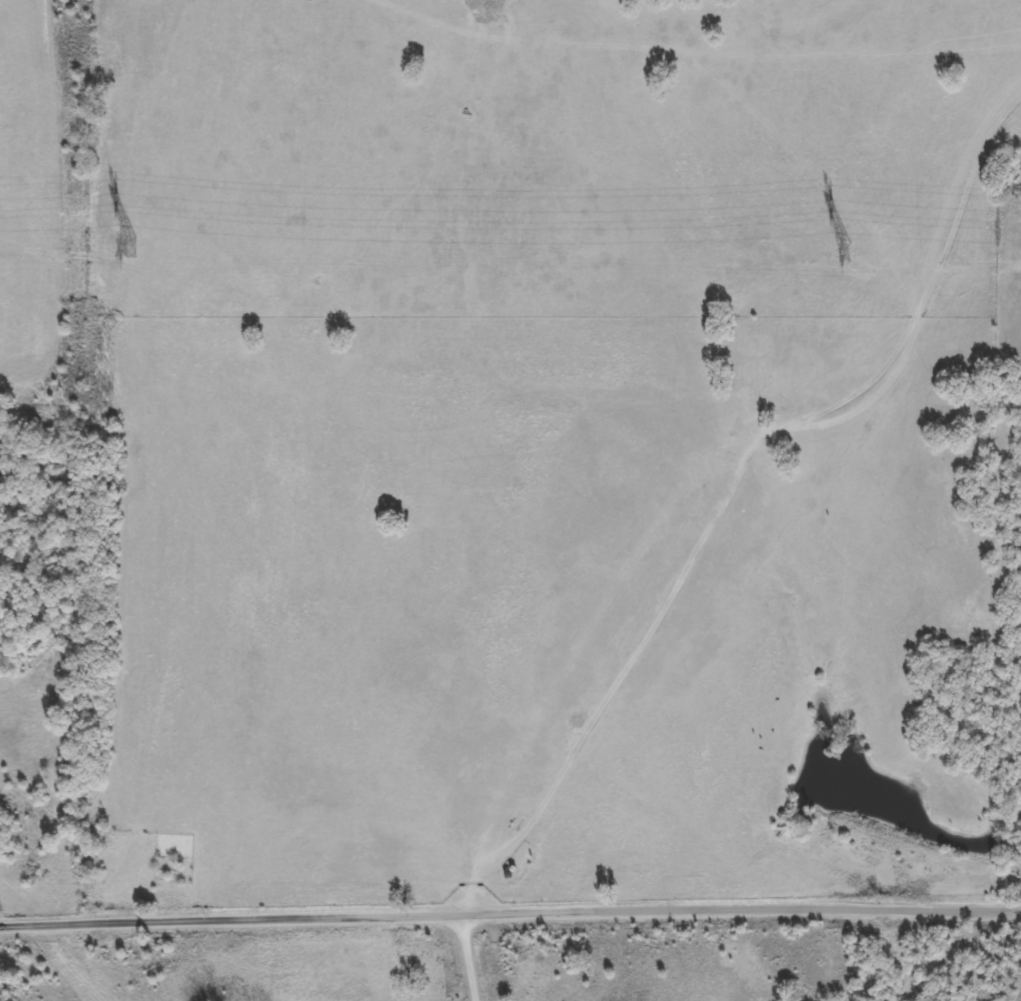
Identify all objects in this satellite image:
power tower: (131, 247)
power tower: (842, 252)
road: (727, 488)
road: (510, 916)
road: (464, 959)

